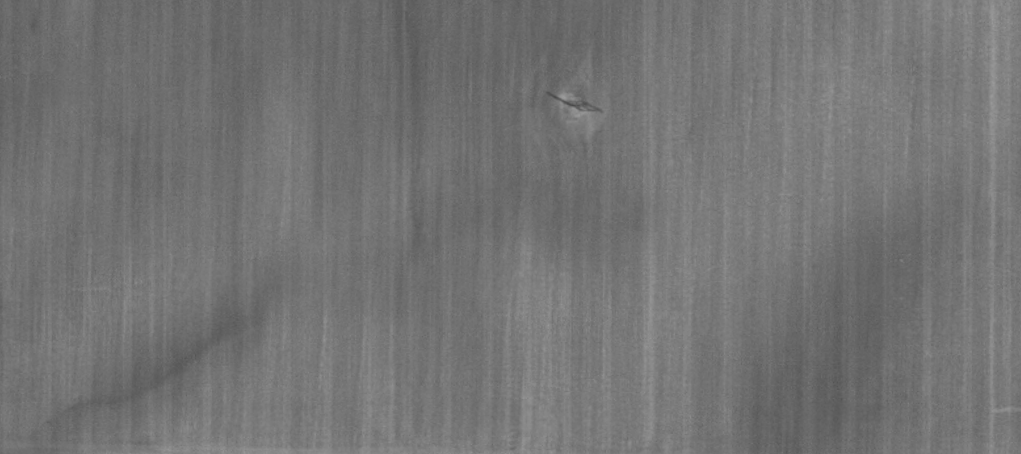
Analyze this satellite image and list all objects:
power tower: (576, 111)

